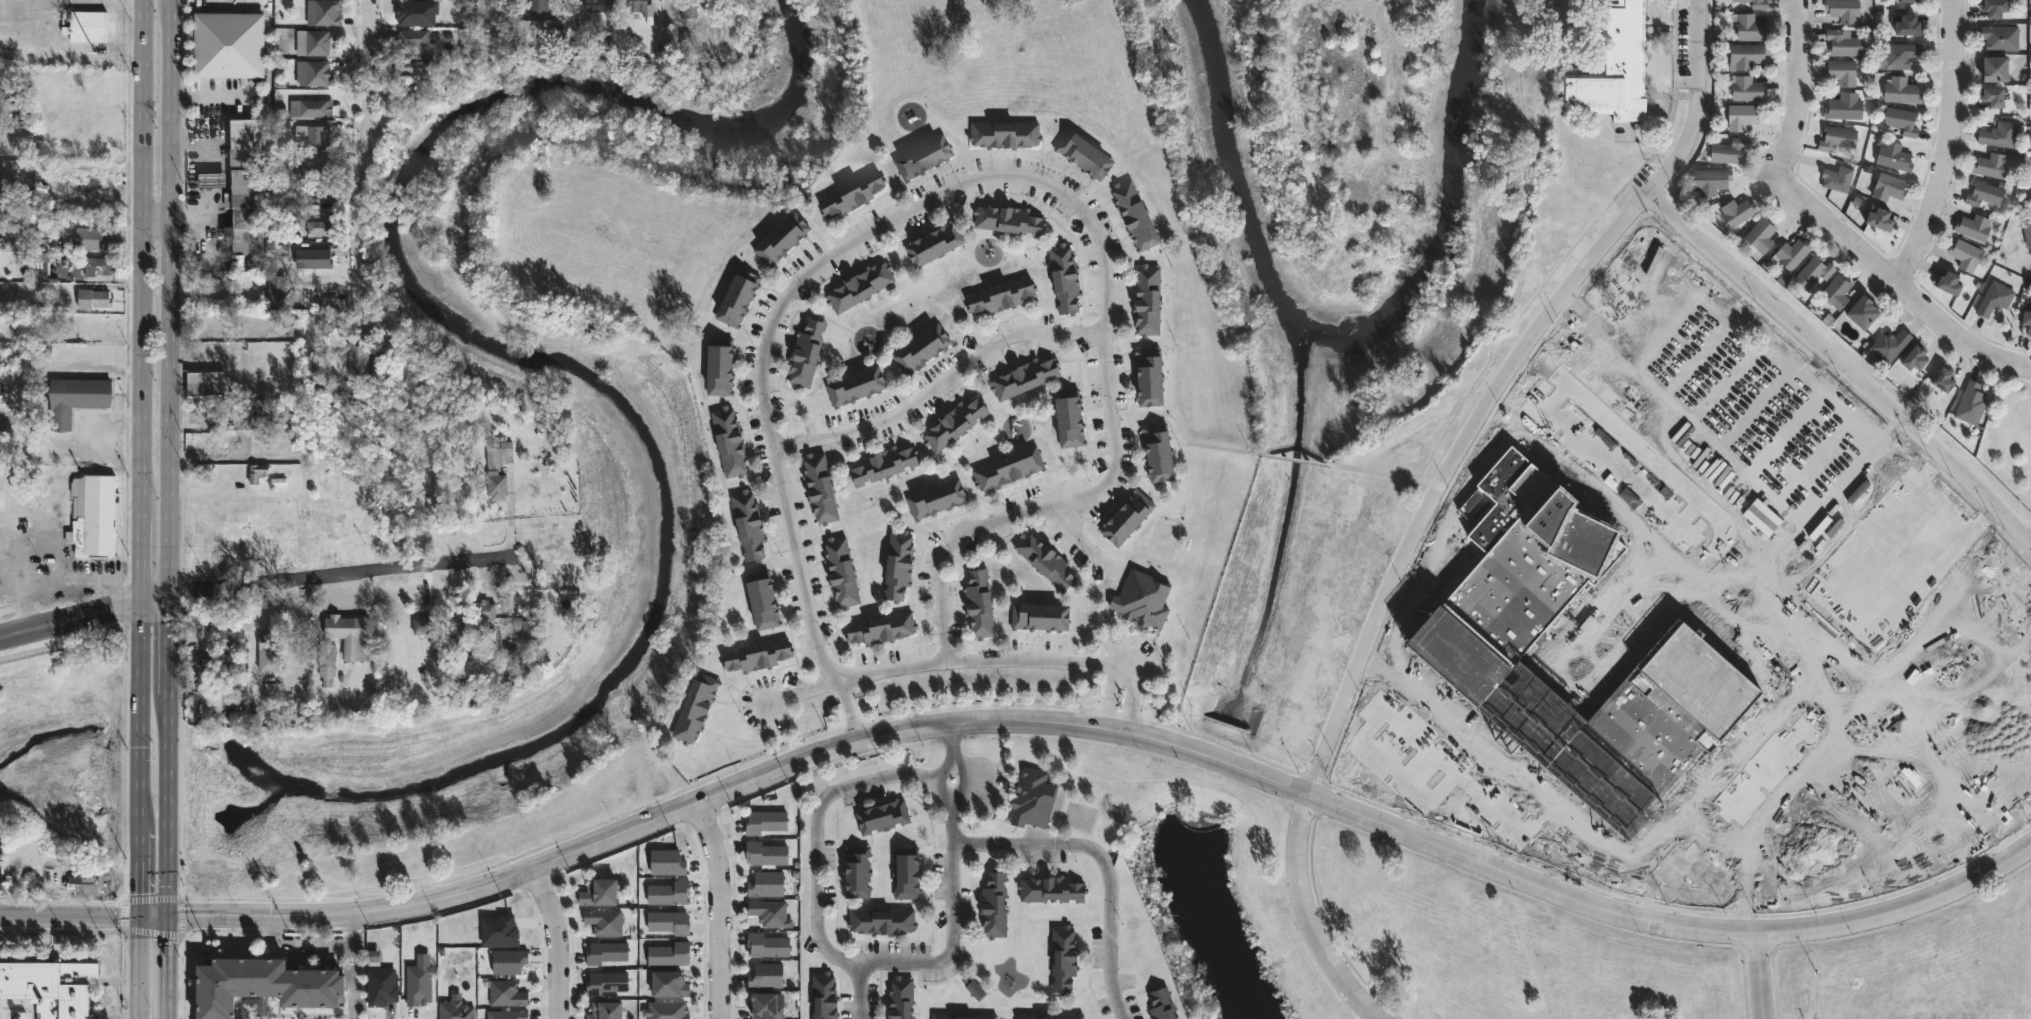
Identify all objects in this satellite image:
building: (1904, 1)
building: (1755, 3)
building: (538, 6)
building: (600, 7)
building: (638, 8)
building: (1995, 8)
building: (1843, 10)
building: (415, 12)
building: (328, 13)
building: (91, 25)
building: (1906, 25)
road: (490, 26)
building: (1750, 28)
building: (414, 37)
building: (2000, 38)
building: (319, 42)
building: (229, 43)
building: (1843, 44)
building: (1747, 54)
building: (1898, 56)
building: (409, 67)
building: (1614, 67)
building: (1995, 70)
building: (319, 72)
building: (1840, 72)
building: (1746, 88)
building: (1900, 91)
road: (1799, 95)
building: (1994, 97)
road: (211, 98)
building: (316, 107)
building: (1843, 108)
building: (1740, 115)
building: (1901, 119)
building: (314, 133)
building: (1006, 133)
building: (1999, 133)
building: (1836, 138)
road: (1955, 148)
building: (1729, 150)
building: (1086, 153)
building: (924, 156)
building: (1893, 156)
road: (362, 157)
building: (1990, 164)
building: (317, 167)
building: (1836, 177)
building: (1710, 179)
building: (2030, 179)
building: (240, 183)
building: (1888, 186)
building: (2030, 187)
building: (853, 193)
building: (1984, 193)
building: (1736, 211)
building: (1138, 215)
building: (1879, 218)
building: (1007, 219)
road: (157, 225)
building: (1974, 225)
building: (320, 228)
road: (871, 230)
building: (2026, 231)
building: (1760, 234)
building: (95, 235)
building: (783, 238)
building: (935, 243)
building: (1792, 252)
building: (1965, 253)
building: (315, 257)
building: (98, 265)
building: (1812, 271)
building: (1064, 277)
building: (1948, 282)
building: (861, 285)
road: (1105, 285)
road: (1906, 286)
building: (1836, 290)
building: (276, 291)
building: (1002, 295)
building: (739, 296)
building: (93, 297)
building: (1994, 298)
road: (171, 300)
building: (1149, 300)
road: (142, 303)
building: (1862, 310)
building: (2026, 319)
building: (101, 330)
building: (1888, 345)
building: (922, 346)
building: (808, 351)
building: (1914, 356)
building: (359, 357)
road: (1844, 364)
building: (722, 365)
building: (381, 370)
building: (1150, 375)
building: (1022, 377)
building: (1943, 377)
building: (209, 382)
road: (938, 383)
building: (856, 385)
road: (1500, 385)
building: (0, 390)
road: (1556, 394)
building: (1657, 396)
building: (80, 397)
building: (1970, 402)
building: (1067, 418)
building: (956, 422)
park: (2008, 436)
building: (731, 442)
road: (1188, 442)
building: (1157, 452)
road: (1296, 459)
road: (1933, 462)
building: (881, 464)
building: (498, 465)
road: (1614, 466)
building: (1010, 468)
road: (1380, 473)
building: (259, 474)
building: (425, 482)
building: (822, 487)
building: (936, 498)
road: (1040, 504)
road: (1688, 511)
road: (1986, 511)
building: (96, 514)
building: (1130, 517)
building: (750, 524)
road: (1455, 534)
road: (1079, 537)
park: (1164, 537)
road: (1431, 538)
building: (1471, 542)
road: (1716, 550)
building: (1043, 559)
building: (896, 565)
building: (842, 571)
road: (800, 572)
road: (336, 574)
road: (83, 580)
road: (1423, 581)
road: (28, 586)
building: (1141, 599)
building: (1846, 599)
building: (764, 600)
building: (1468, 602)
building: (981, 604)
road: (156, 605)
building: (486, 608)
building: (1042, 616)
road: (1847, 618)
road: (70, 622)
building: (455, 626)
building: (879, 628)
building: (423, 631)
building: (526, 631)
building: (349, 635)
building: (231, 640)
road: (71, 642)
road: (169, 647)
building: (268, 652)
building: (756, 655)
road: (1042, 660)
building: (327, 662)
road: (891, 669)
building: (457, 673)
building: (1935, 676)
road: (801, 690)
building: (270, 692)
road: (1110, 697)
road: (1129, 701)
building: (697, 709)
road: (851, 714)
road: (961, 720)
road: (950, 733)
road: (140, 762)
road: (1395, 768)
road: (1765, 768)
road: (1452, 770)
road: (941, 780)
road: (962, 780)
building: (1031, 799)
road: (169, 805)
park: (1078, 815)
building: (881, 816)
building: (766, 821)
road: (816, 830)
road: (1590, 847)
road: (1097, 851)
building: (766, 852)
building: (667, 862)
road: (1740, 863)
building: (855, 871)
building: (904, 874)
building: (86, 881)
building: (767, 883)
road: (1678, 888)
building: (1050, 890)
building: (601, 893)
building: (670, 893)
building: (992, 905)
road: (1899, 907)
road: (716, 908)
building: (770, 912)
road: (69, 916)
road: (1307, 916)
traffic signals: (138, 917)
road: (153, 917)
traffic signals: (169, 918)
building: (605, 921)
building: (879, 921)
building: (669, 922)
building: (500, 929)
park: (1477, 938)
road: (555, 941)
road: (316, 944)
building: (768, 944)
road: (168, 951)
building: (606, 952)
building: (670, 954)
building: (1061, 958)
building: (509, 961)
road: (933, 963)
road: (137, 968)
building: (767, 975)
road: (1756, 975)
road: (354, 978)
building: (419, 981)
building: (606, 983)
building: (669, 983)
building: (51, 986)
building: (382, 986)
building: (265, 987)
building: (976, 991)
building: (506, 993)
building: (825, 996)
building: (898, 998)
road: (167, 1001)
building: (766, 1004)
building: (1159, 1004)
building: (456, 1009)
building: (606, 1010)
building: (667, 1010)
building: (508, 1014)
building: (943, 1016)
building: (1047, 1016)
building: (0, 1018)

